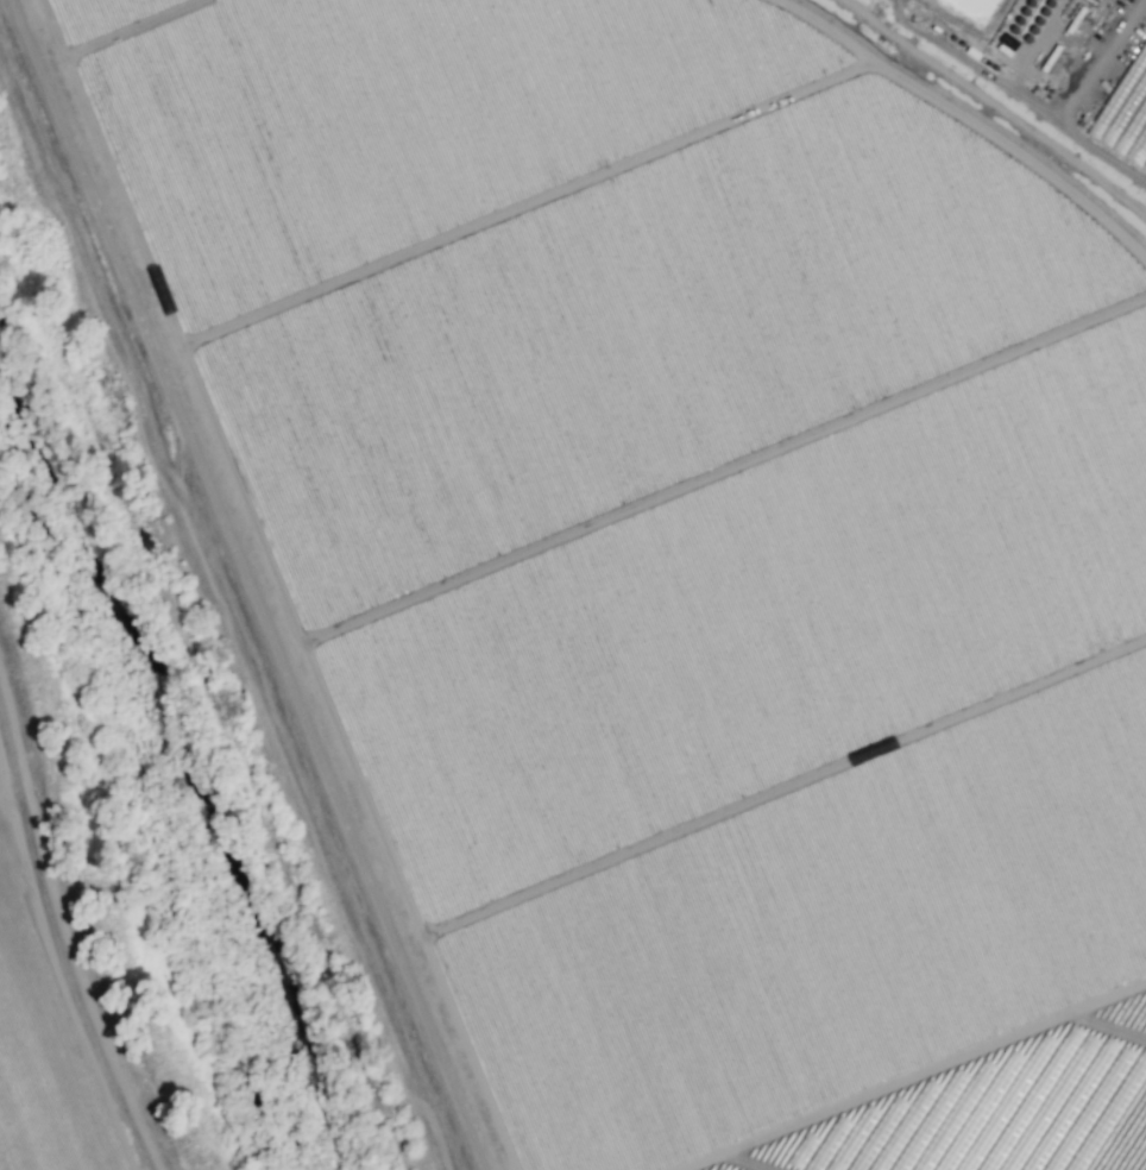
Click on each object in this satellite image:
crop: (574, 583)
road: (246, 584)
river: (162, 748)
road: (925, 1081)
crop: (43, 1145)

